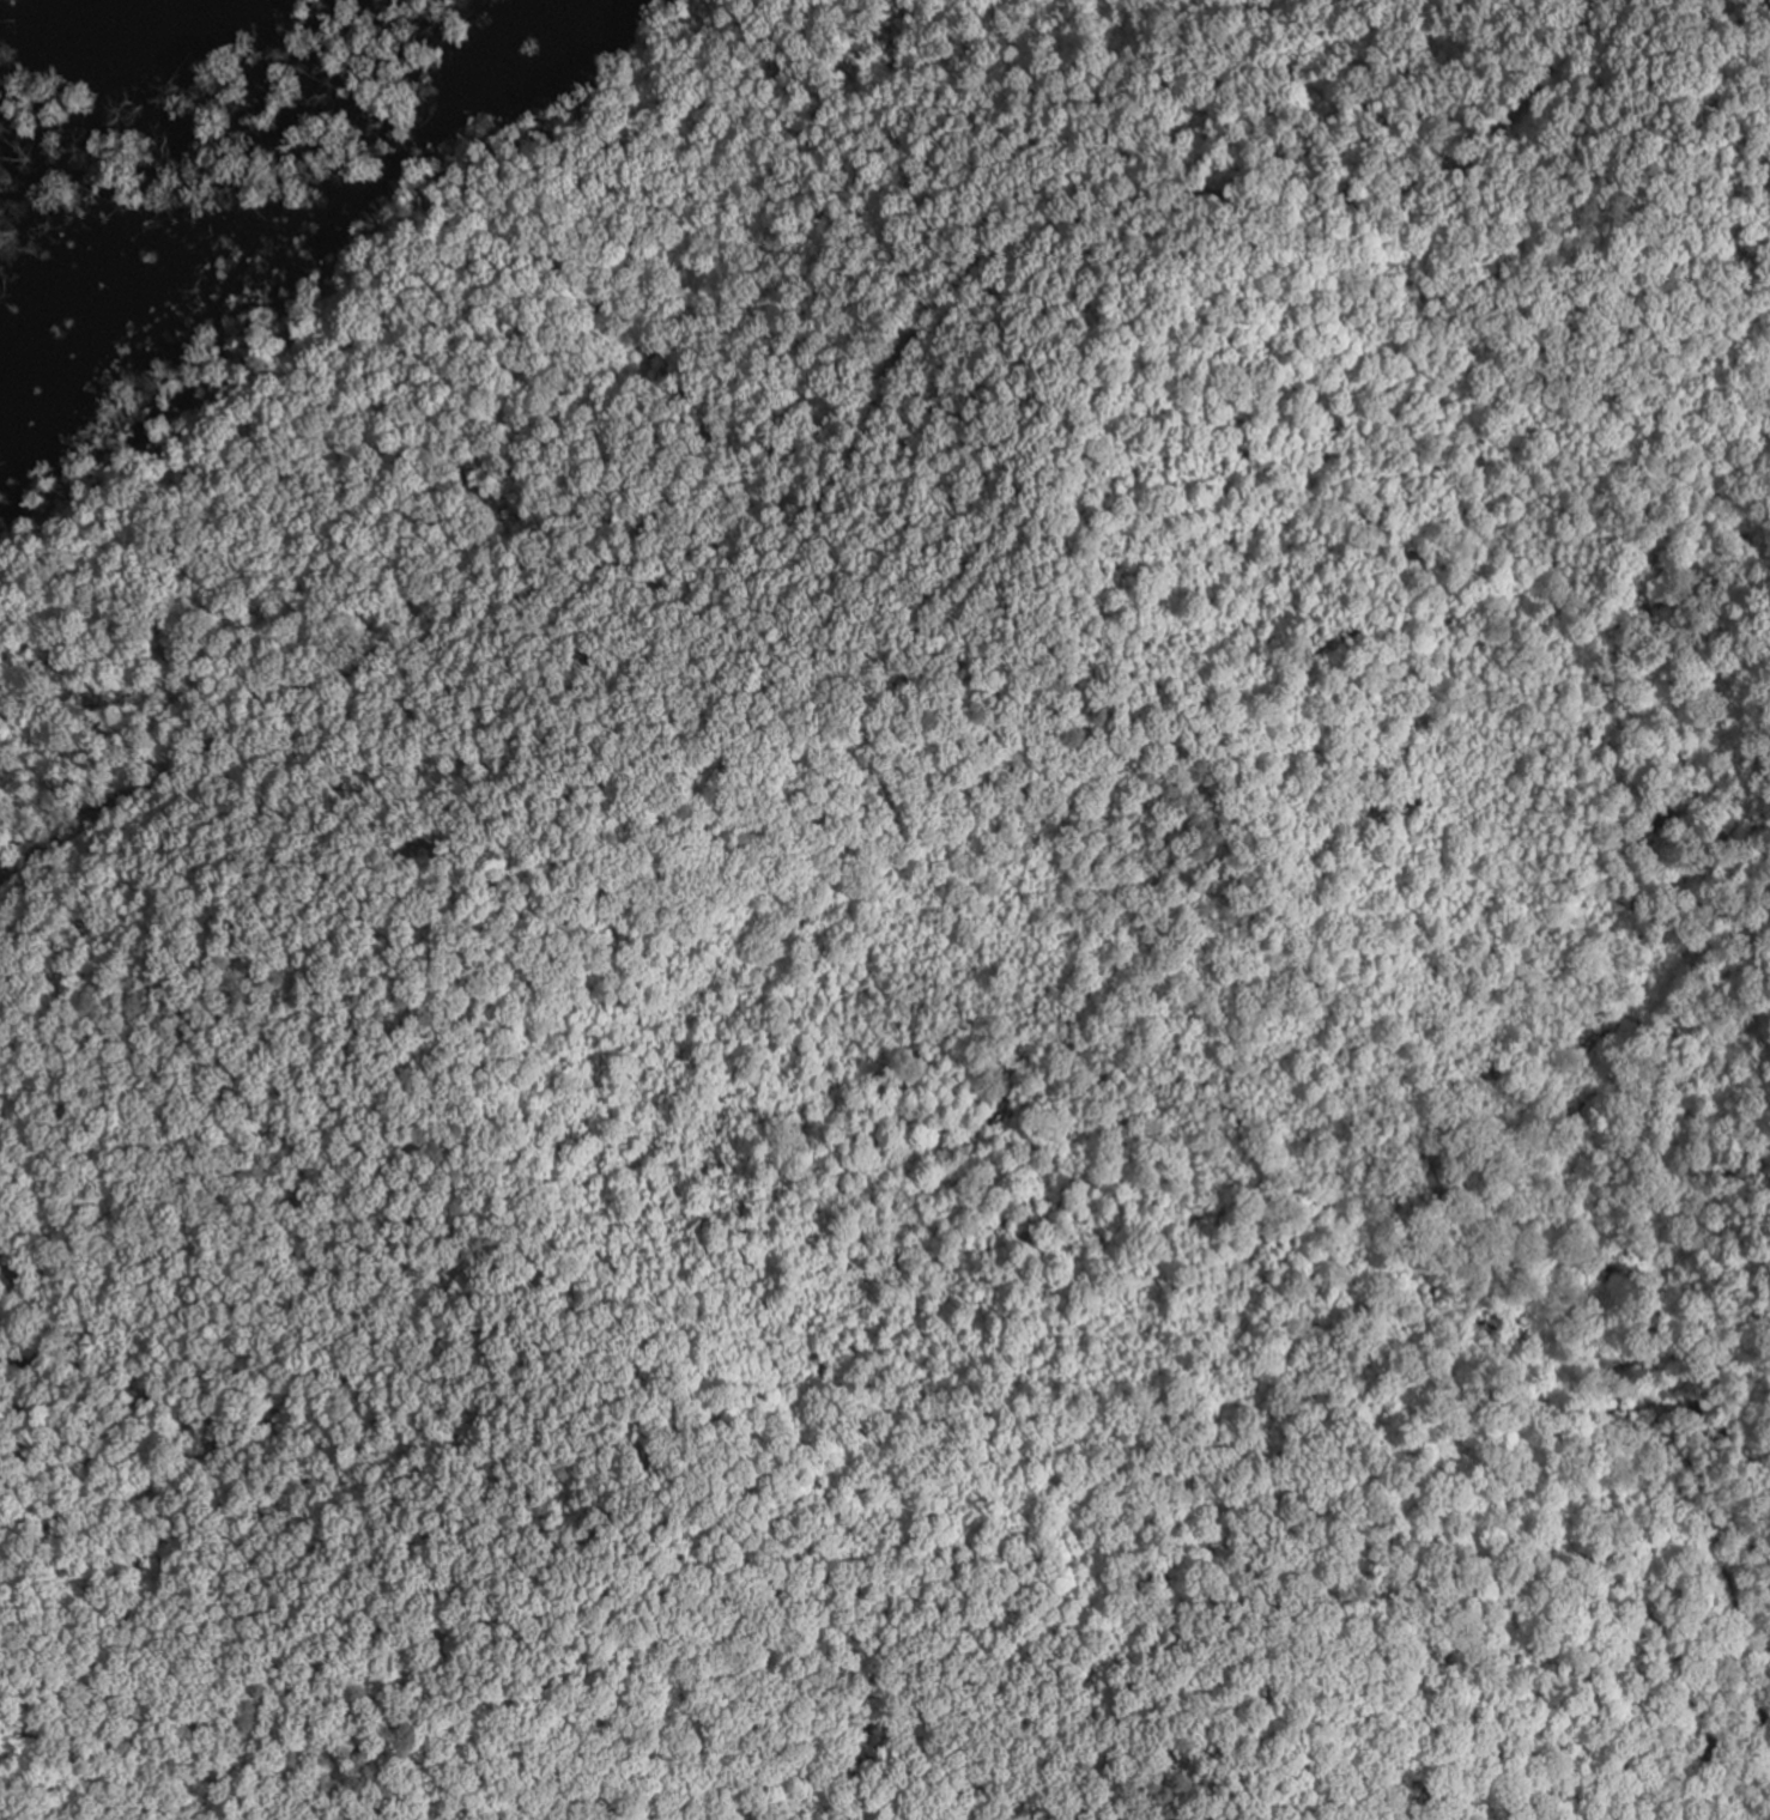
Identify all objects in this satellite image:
road: (1756, 0)
road: (897, 348)
road: (66, 833)
road: (48, 1315)

